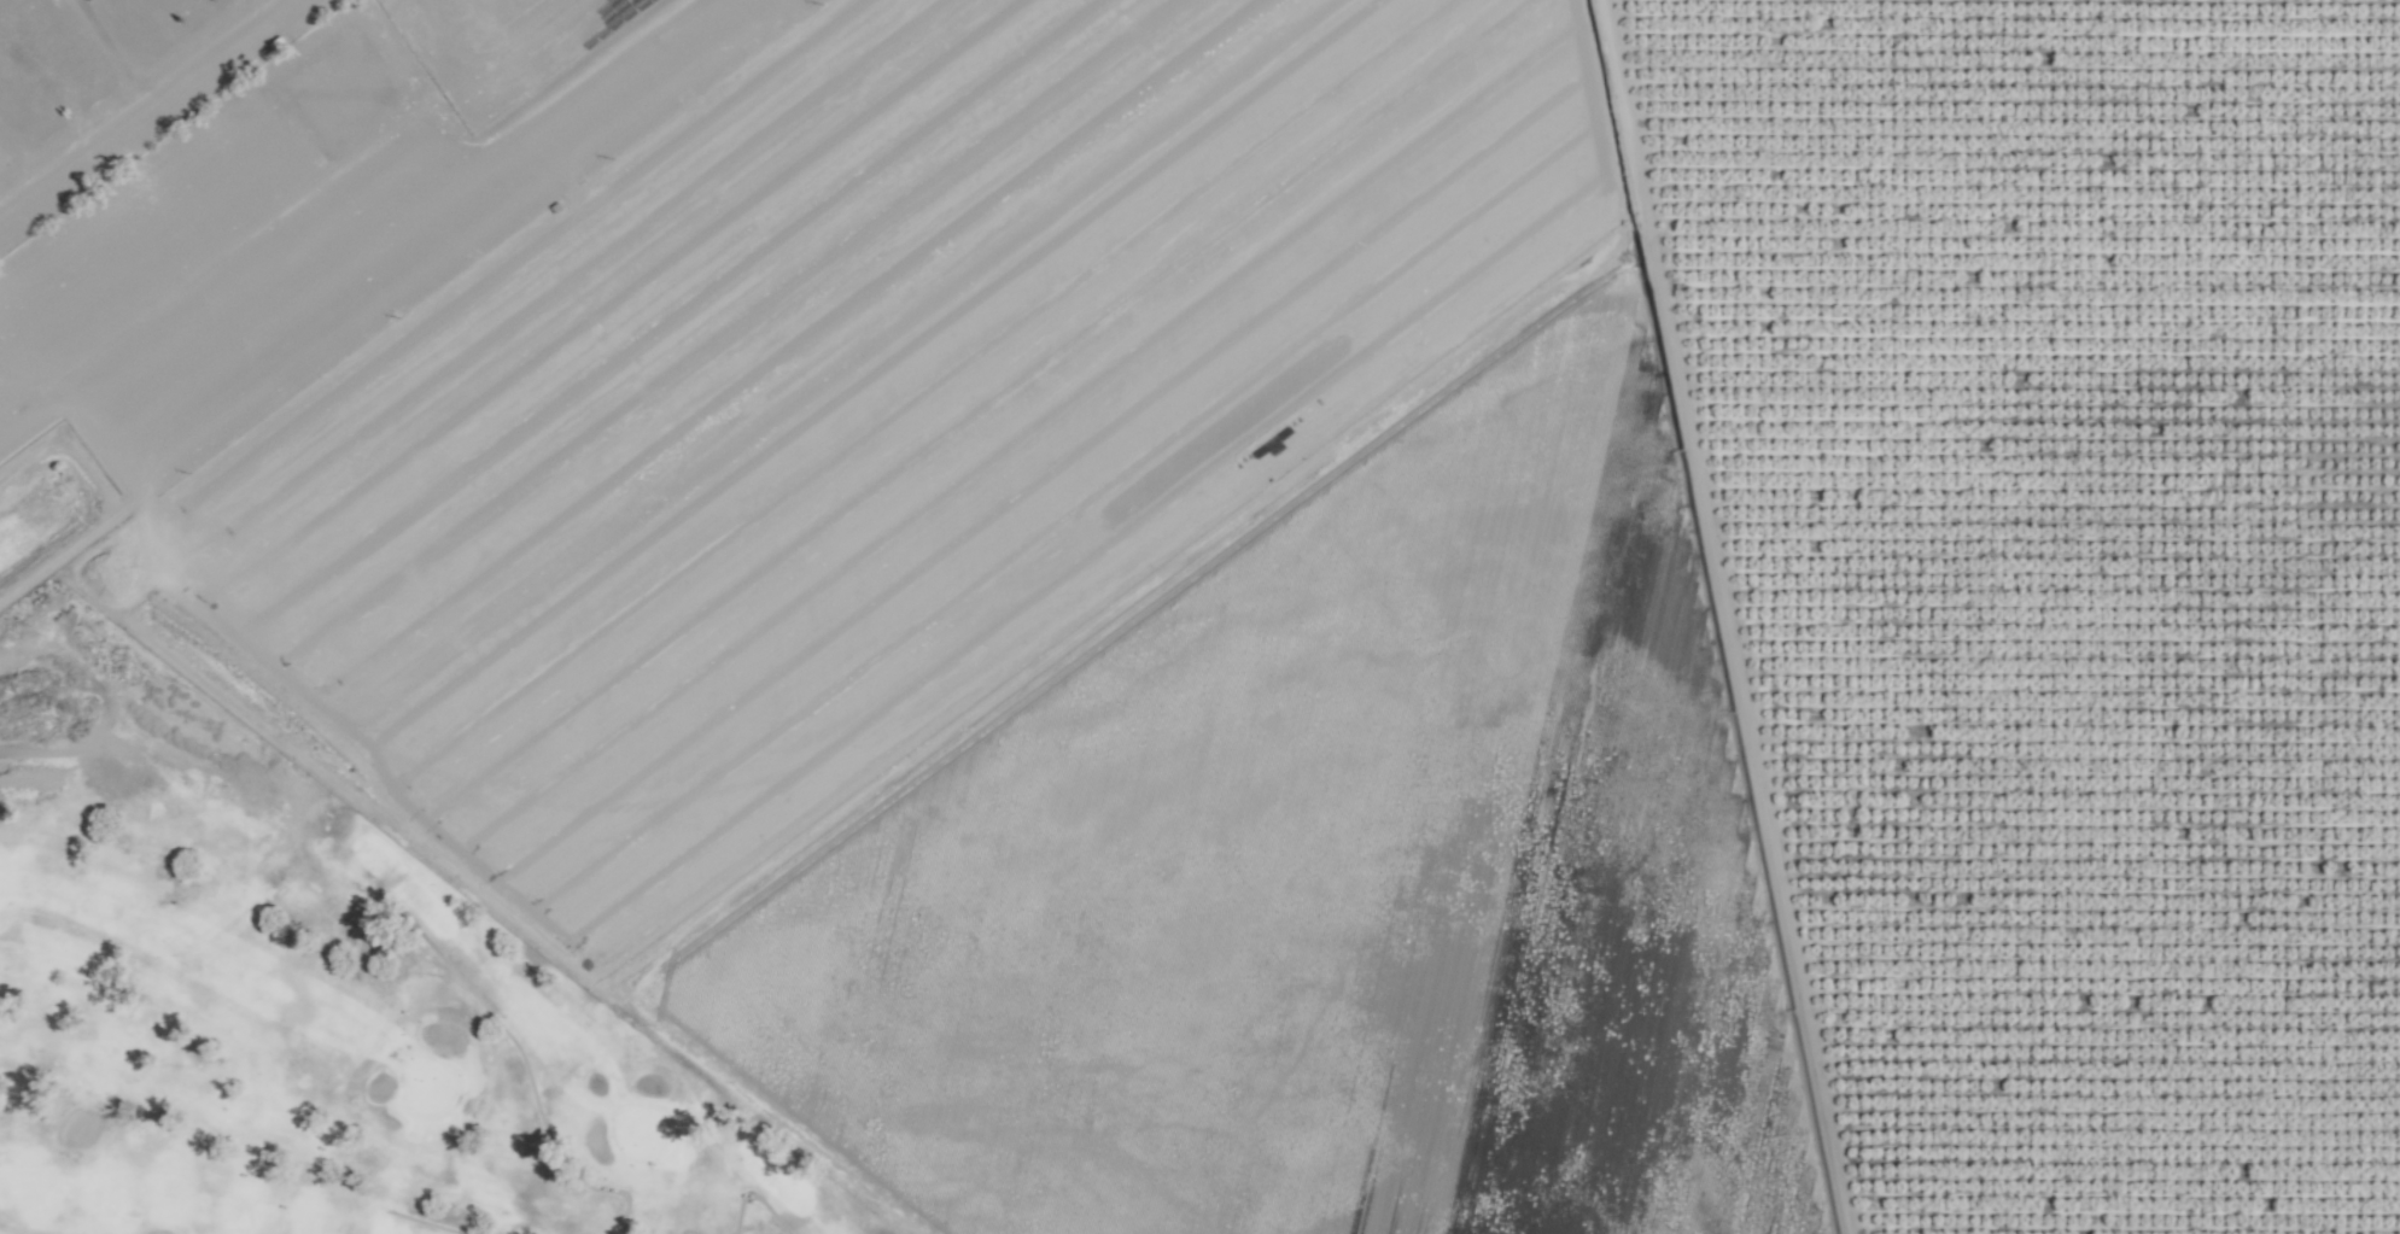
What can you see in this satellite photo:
road: (139, 104)
crop: (1548, 660)
park: (316, 1010)

